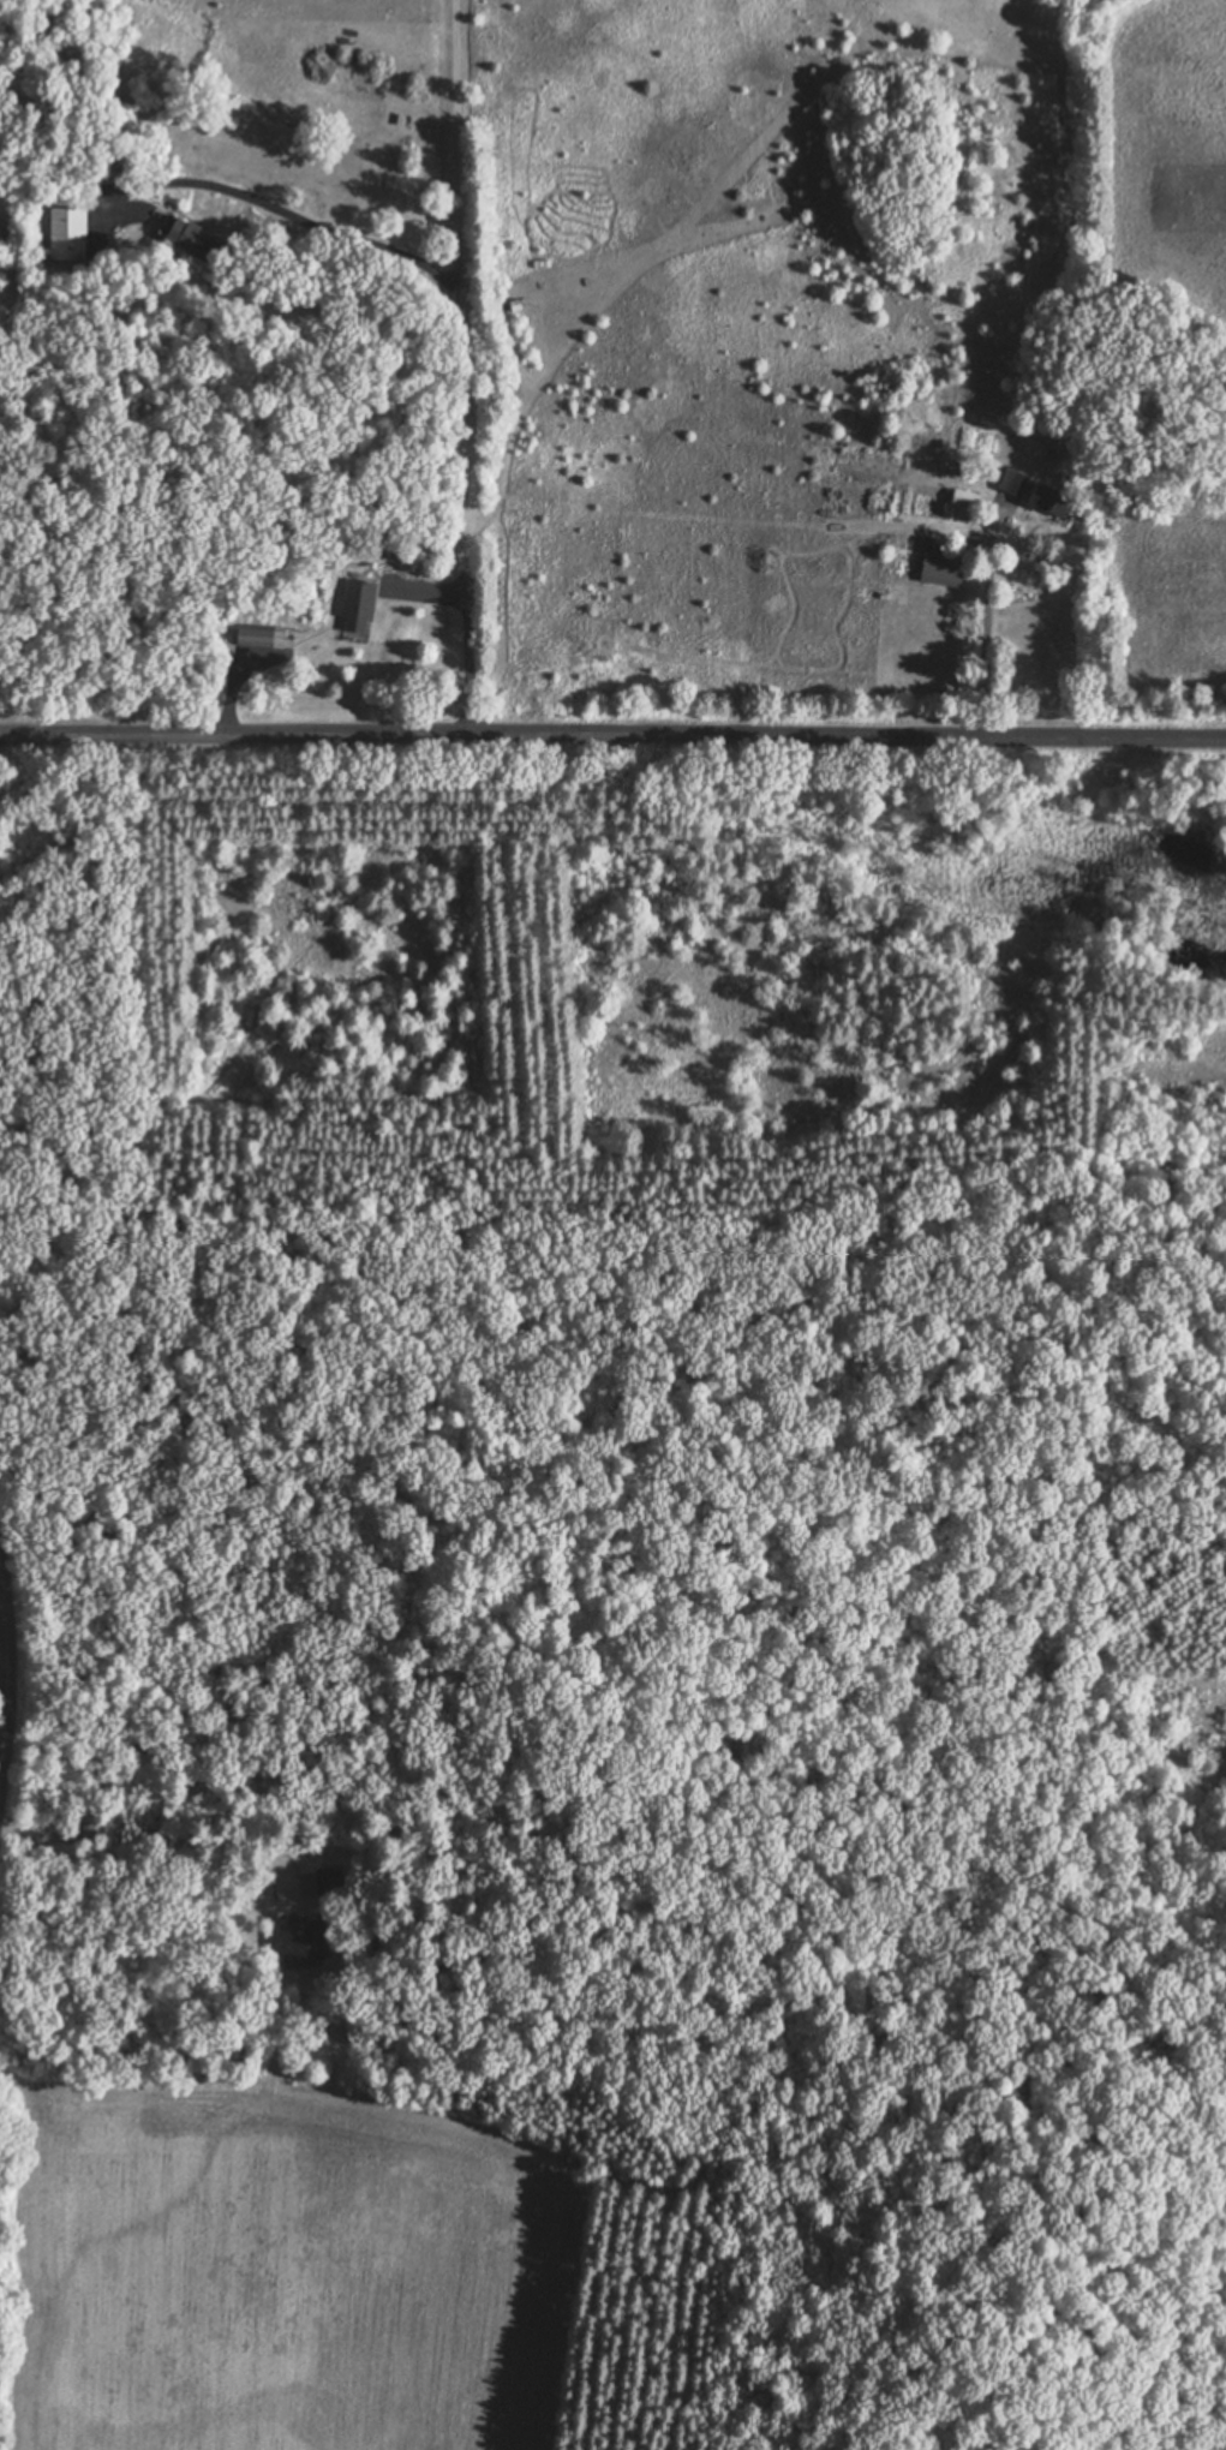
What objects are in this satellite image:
road: (275, 214)
building: (66, 232)
building: (187, 237)
road: (465, 369)
building: (1031, 491)
building: (964, 497)
building: (941, 567)
building: (354, 598)
building: (250, 635)
road: (612, 737)
road: (6, 1677)

